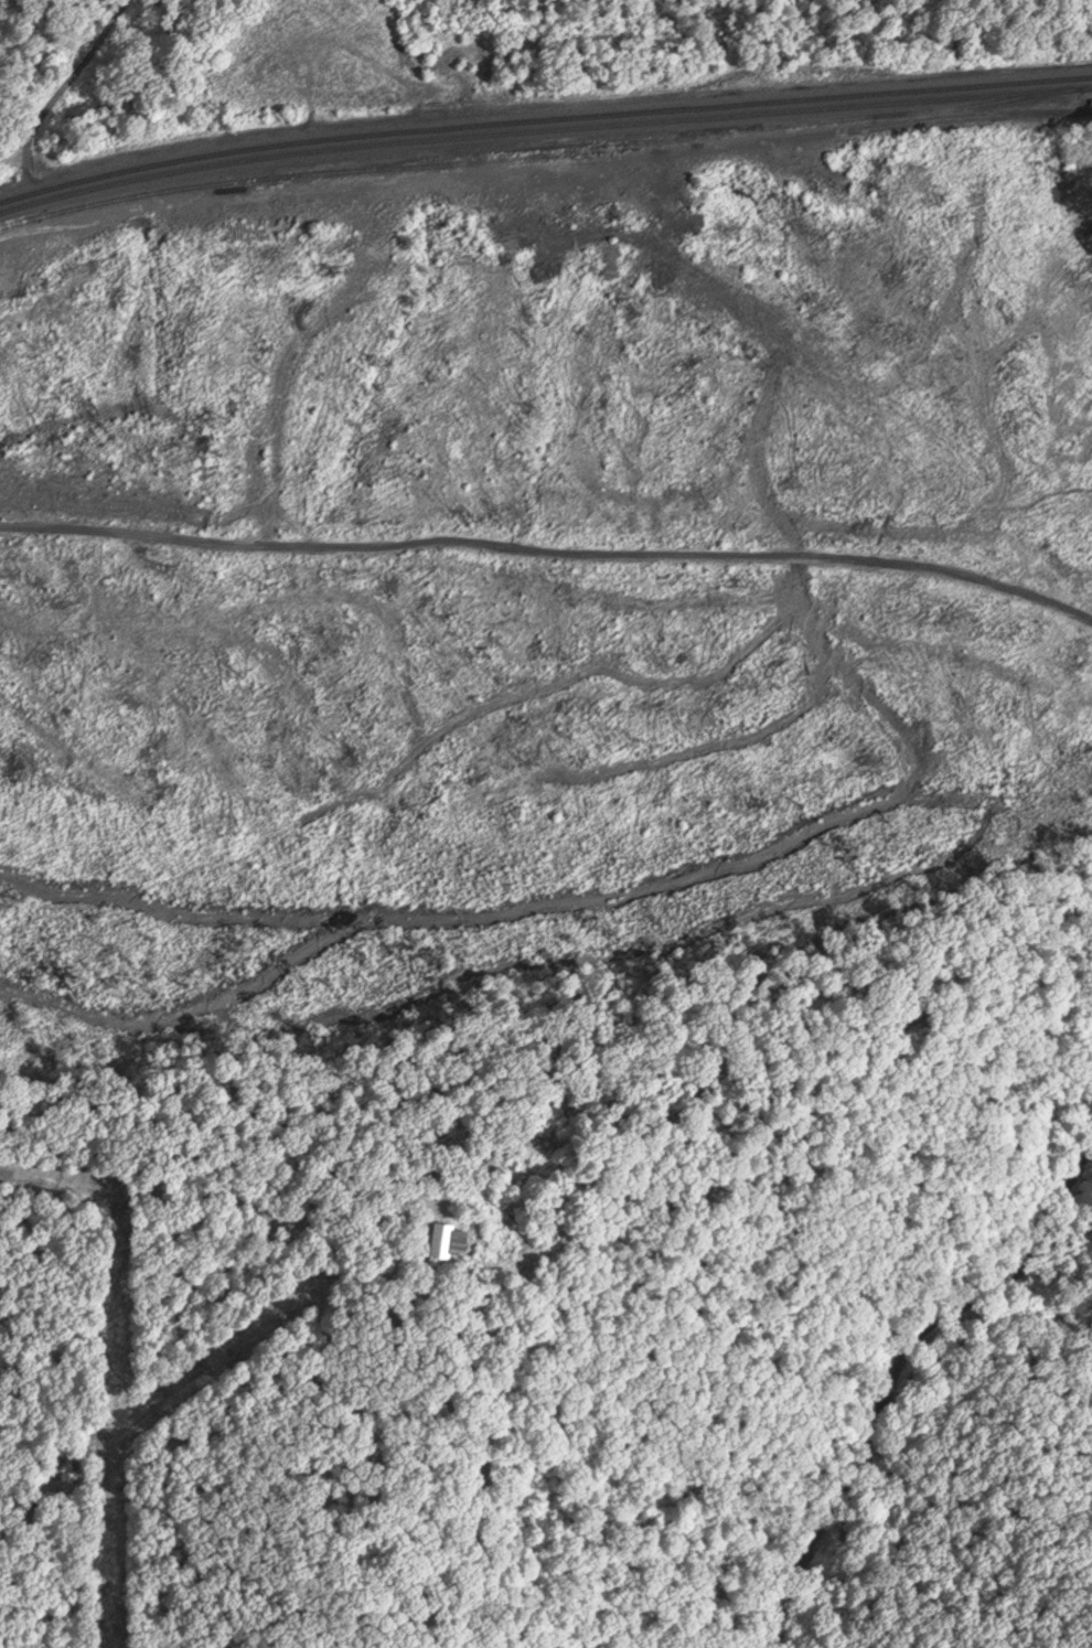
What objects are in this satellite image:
railway: (543, 121)
railway: (543, 132)
railway: (643, 143)
road: (288, 360)
road: (264, 533)
road: (549, 554)
road: (315, 1254)
road: (896, 1379)

